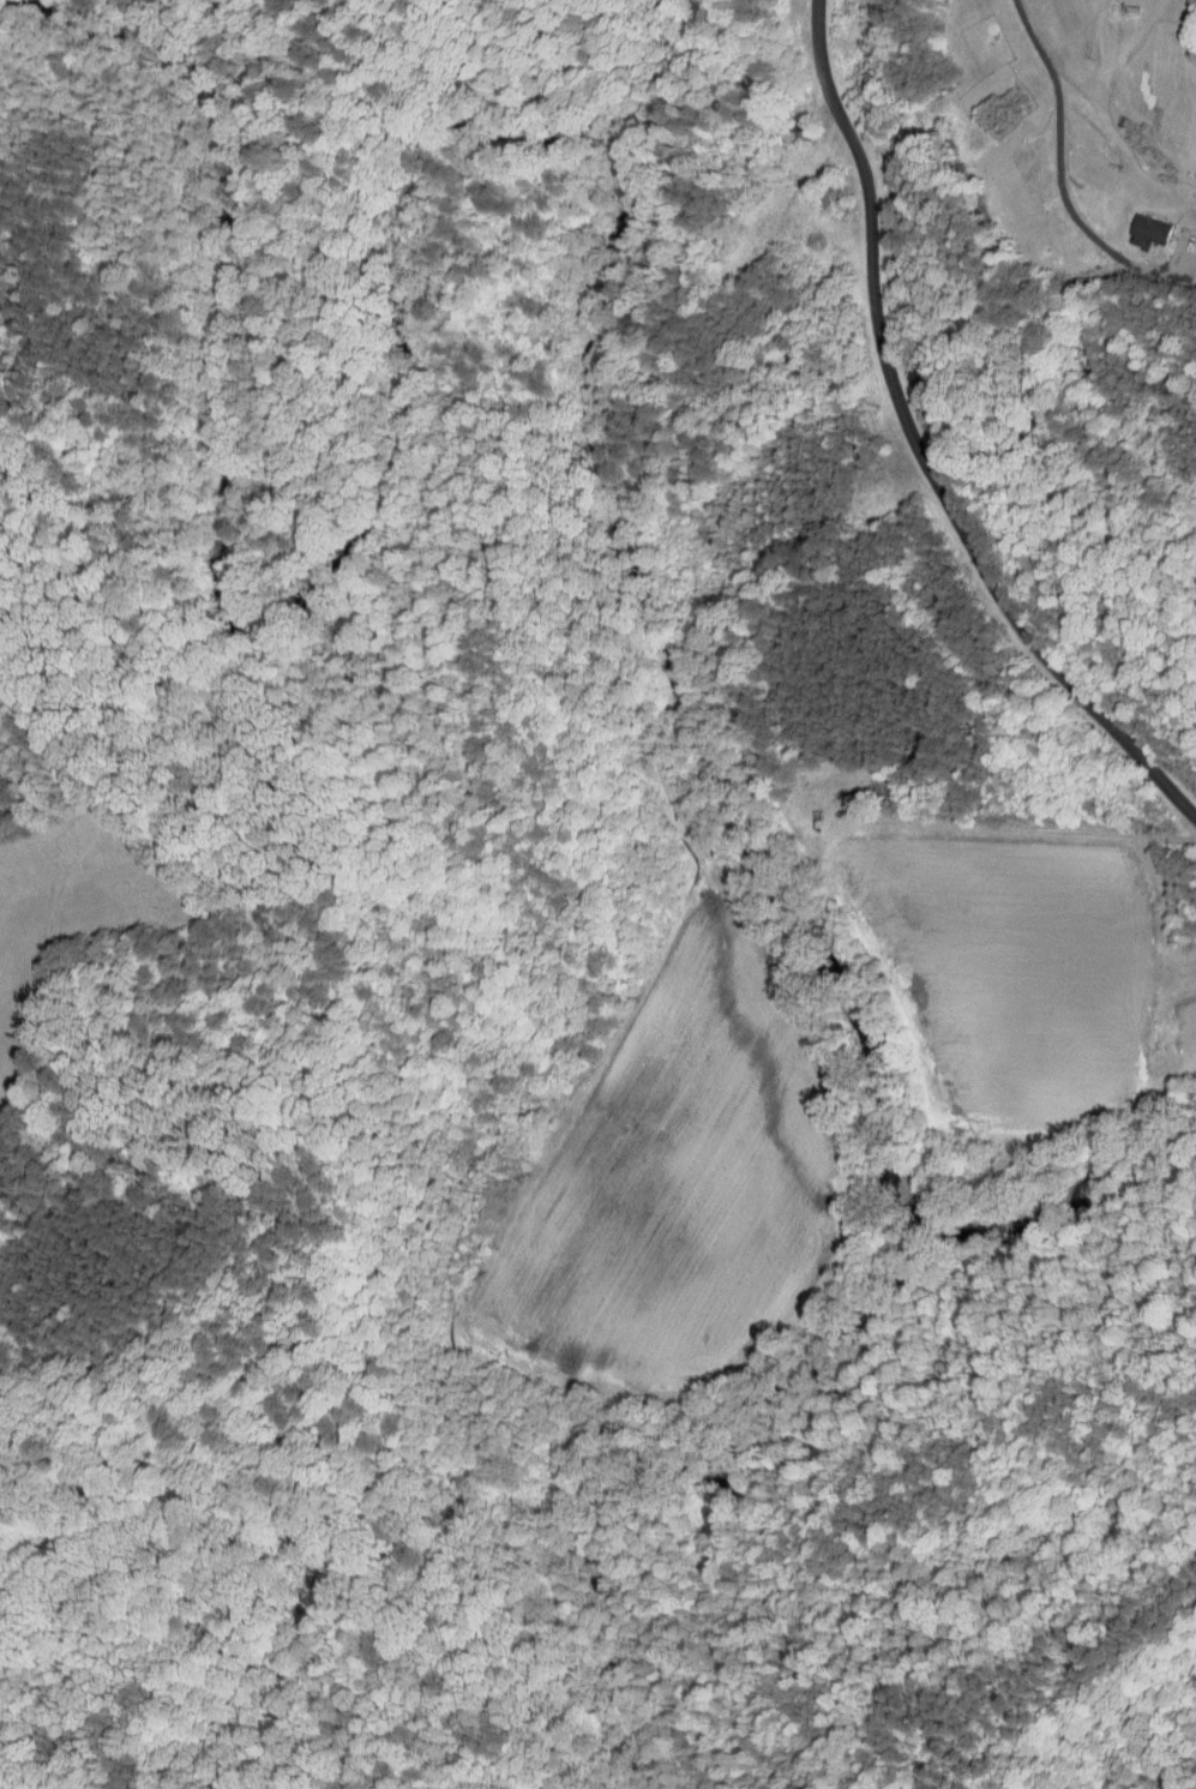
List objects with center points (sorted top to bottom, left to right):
building: (878, 35)
building: (801, 126)
road: (1054, 162)
building: (830, 190)
building: (1135, 223)
road: (918, 448)
road: (533, 1640)
road: (336, 1650)
road: (79, 1747)

